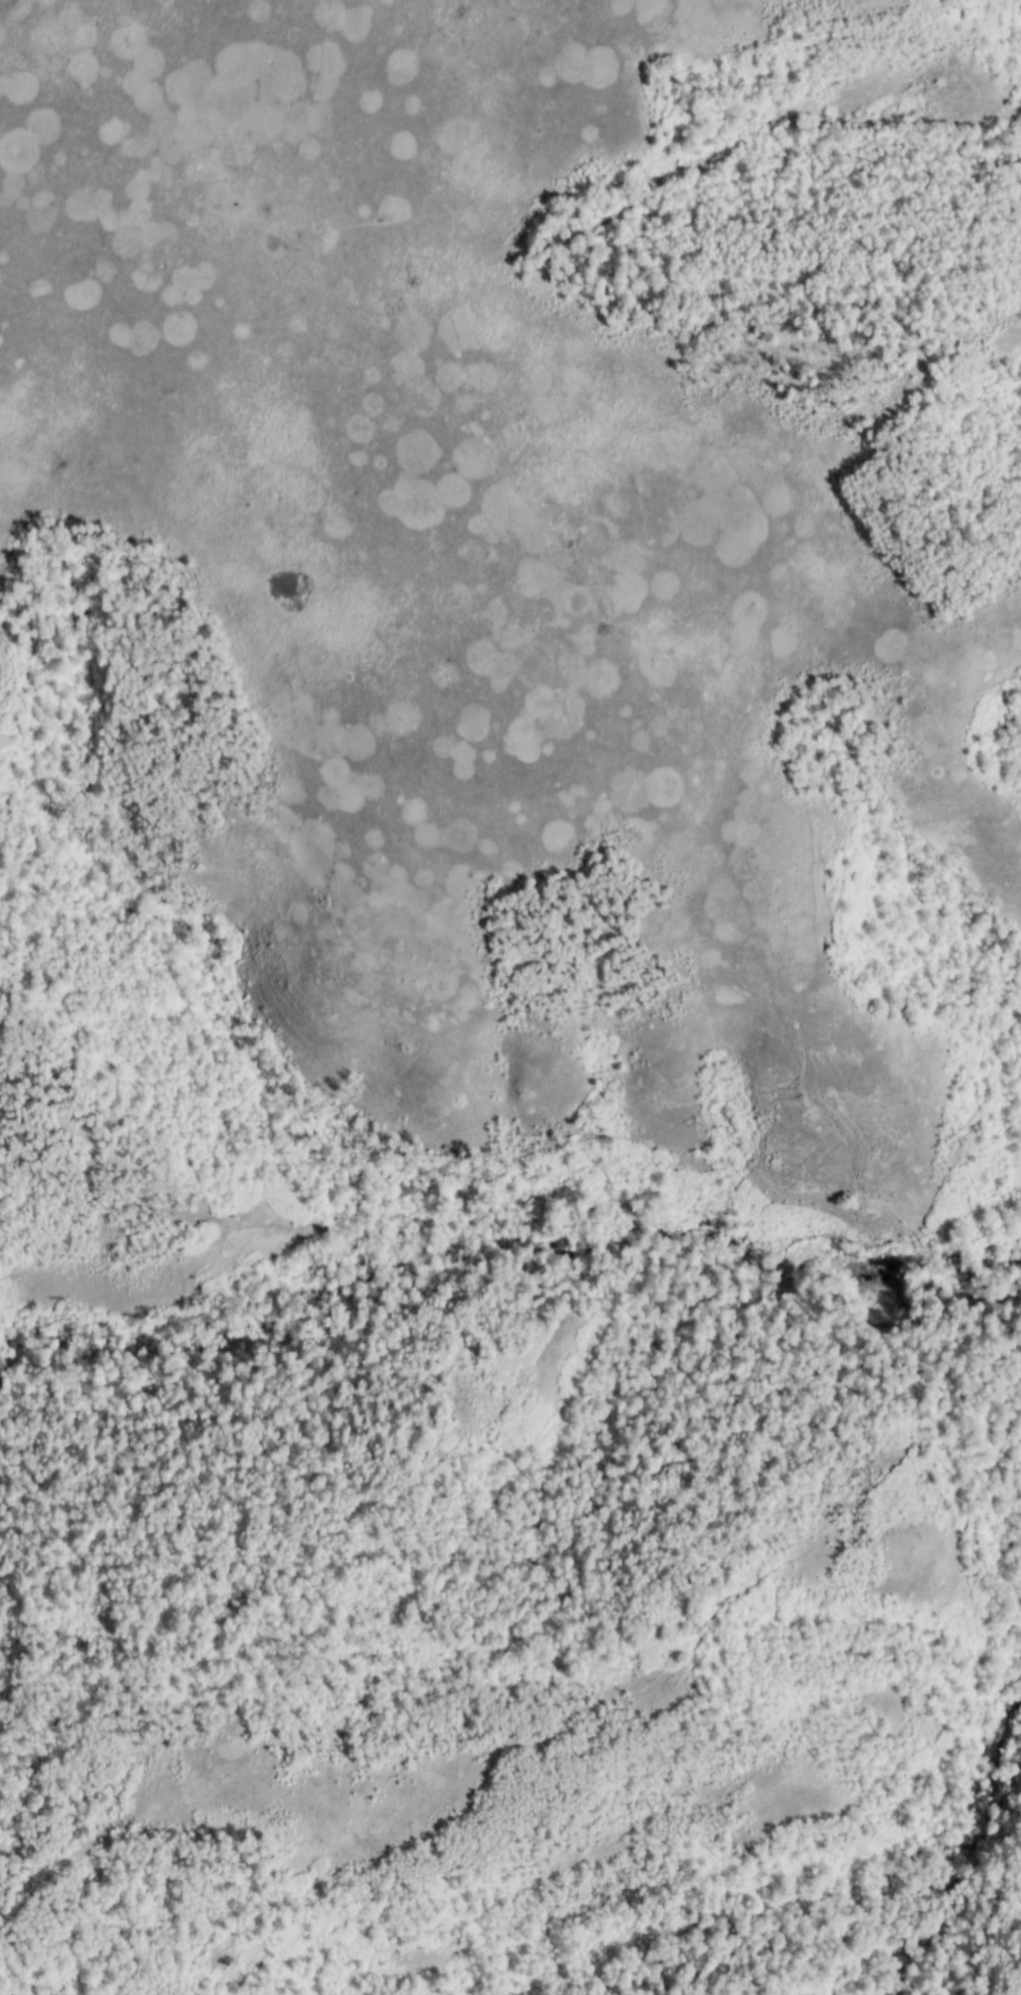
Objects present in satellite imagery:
road: (1, 1)

